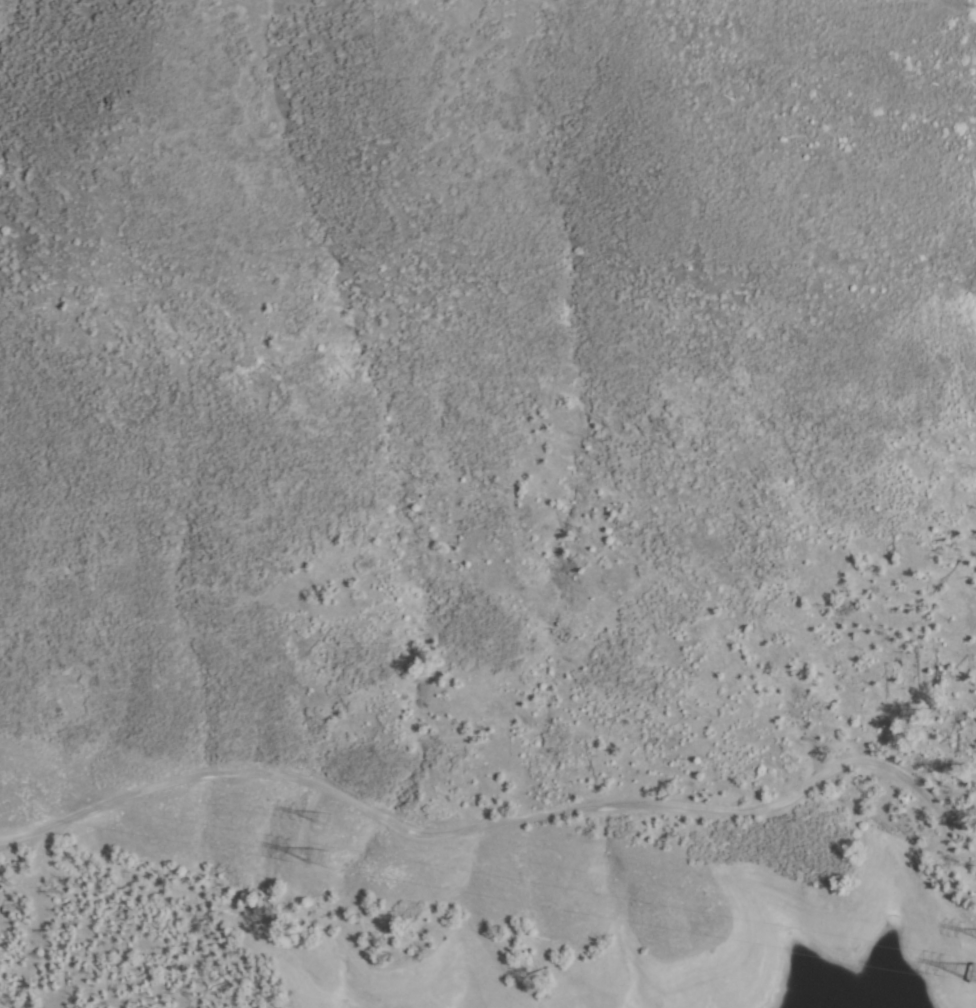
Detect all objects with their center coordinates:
power tower: (324, 819)
road: (494, 822)
power tower: (318, 857)

